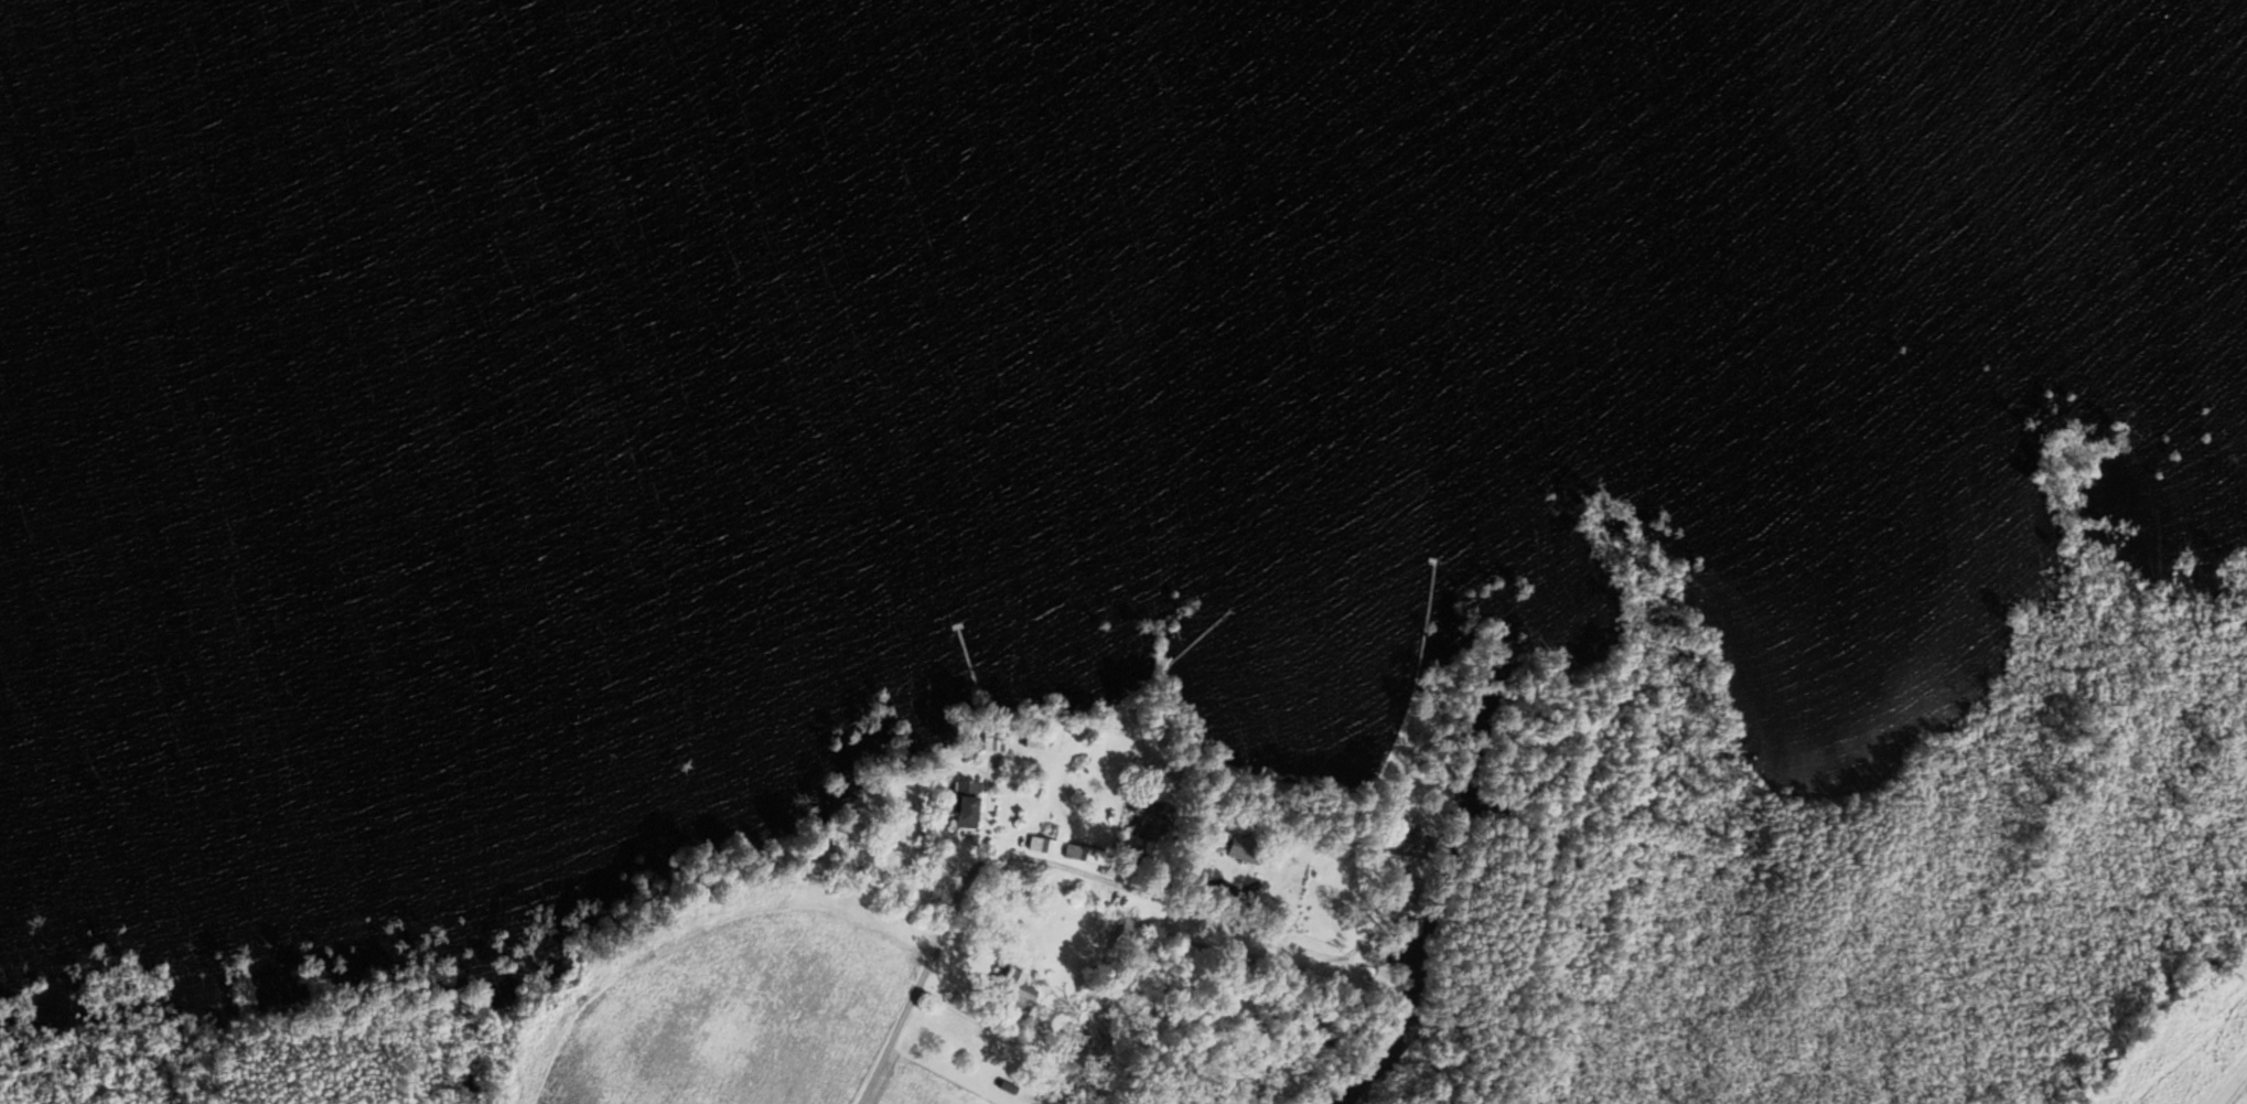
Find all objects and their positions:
building: (1031, 741)
building: (961, 806)
building: (1139, 821)
road: (1007, 826)
building: (1394, 836)
building: (1042, 847)
building: (1074, 855)
road: (975, 868)
building: (1126, 936)
building: (1013, 993)
road: (974, 1018)

